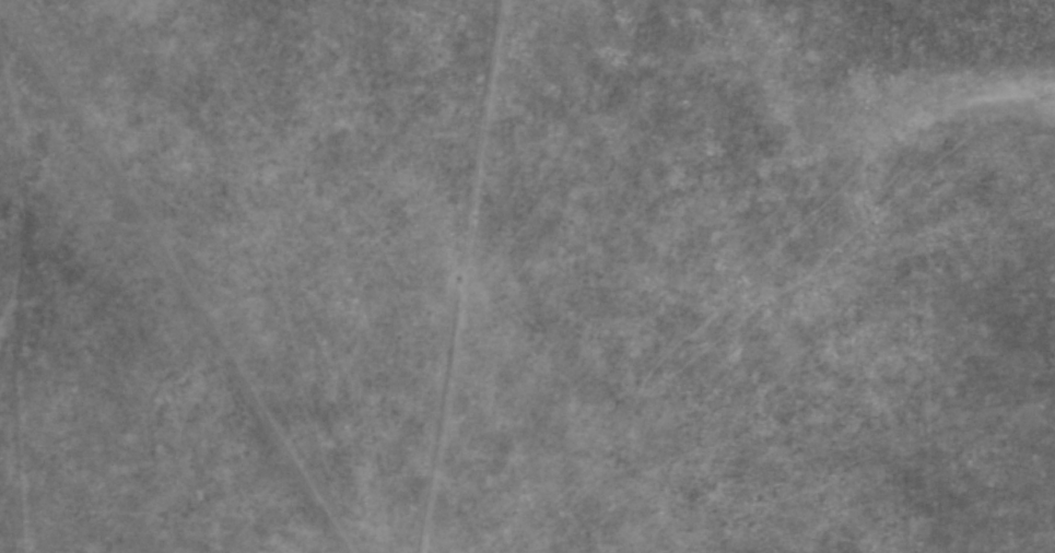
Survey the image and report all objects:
road: (62, 196)
road: (188, 308)

